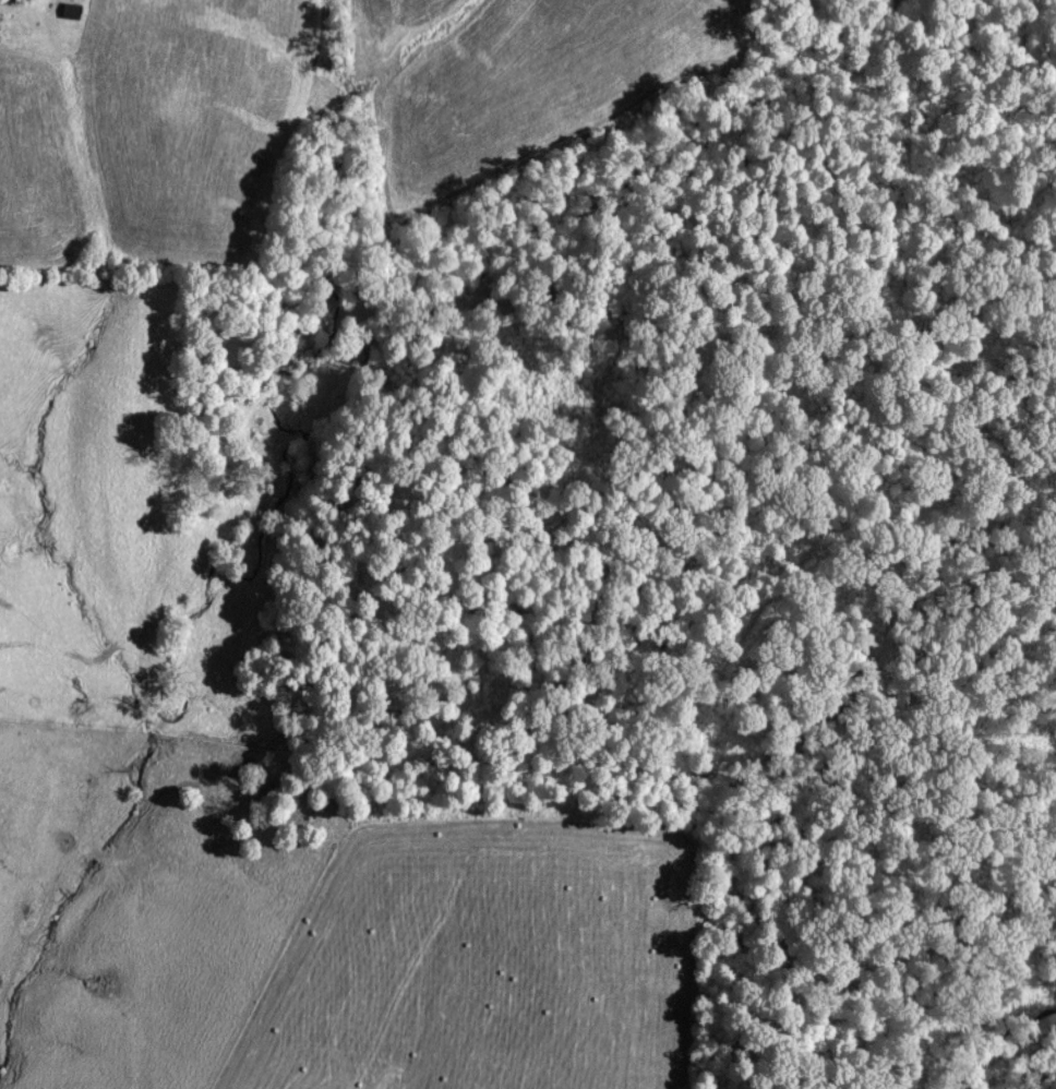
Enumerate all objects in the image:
building: (64, 8)

